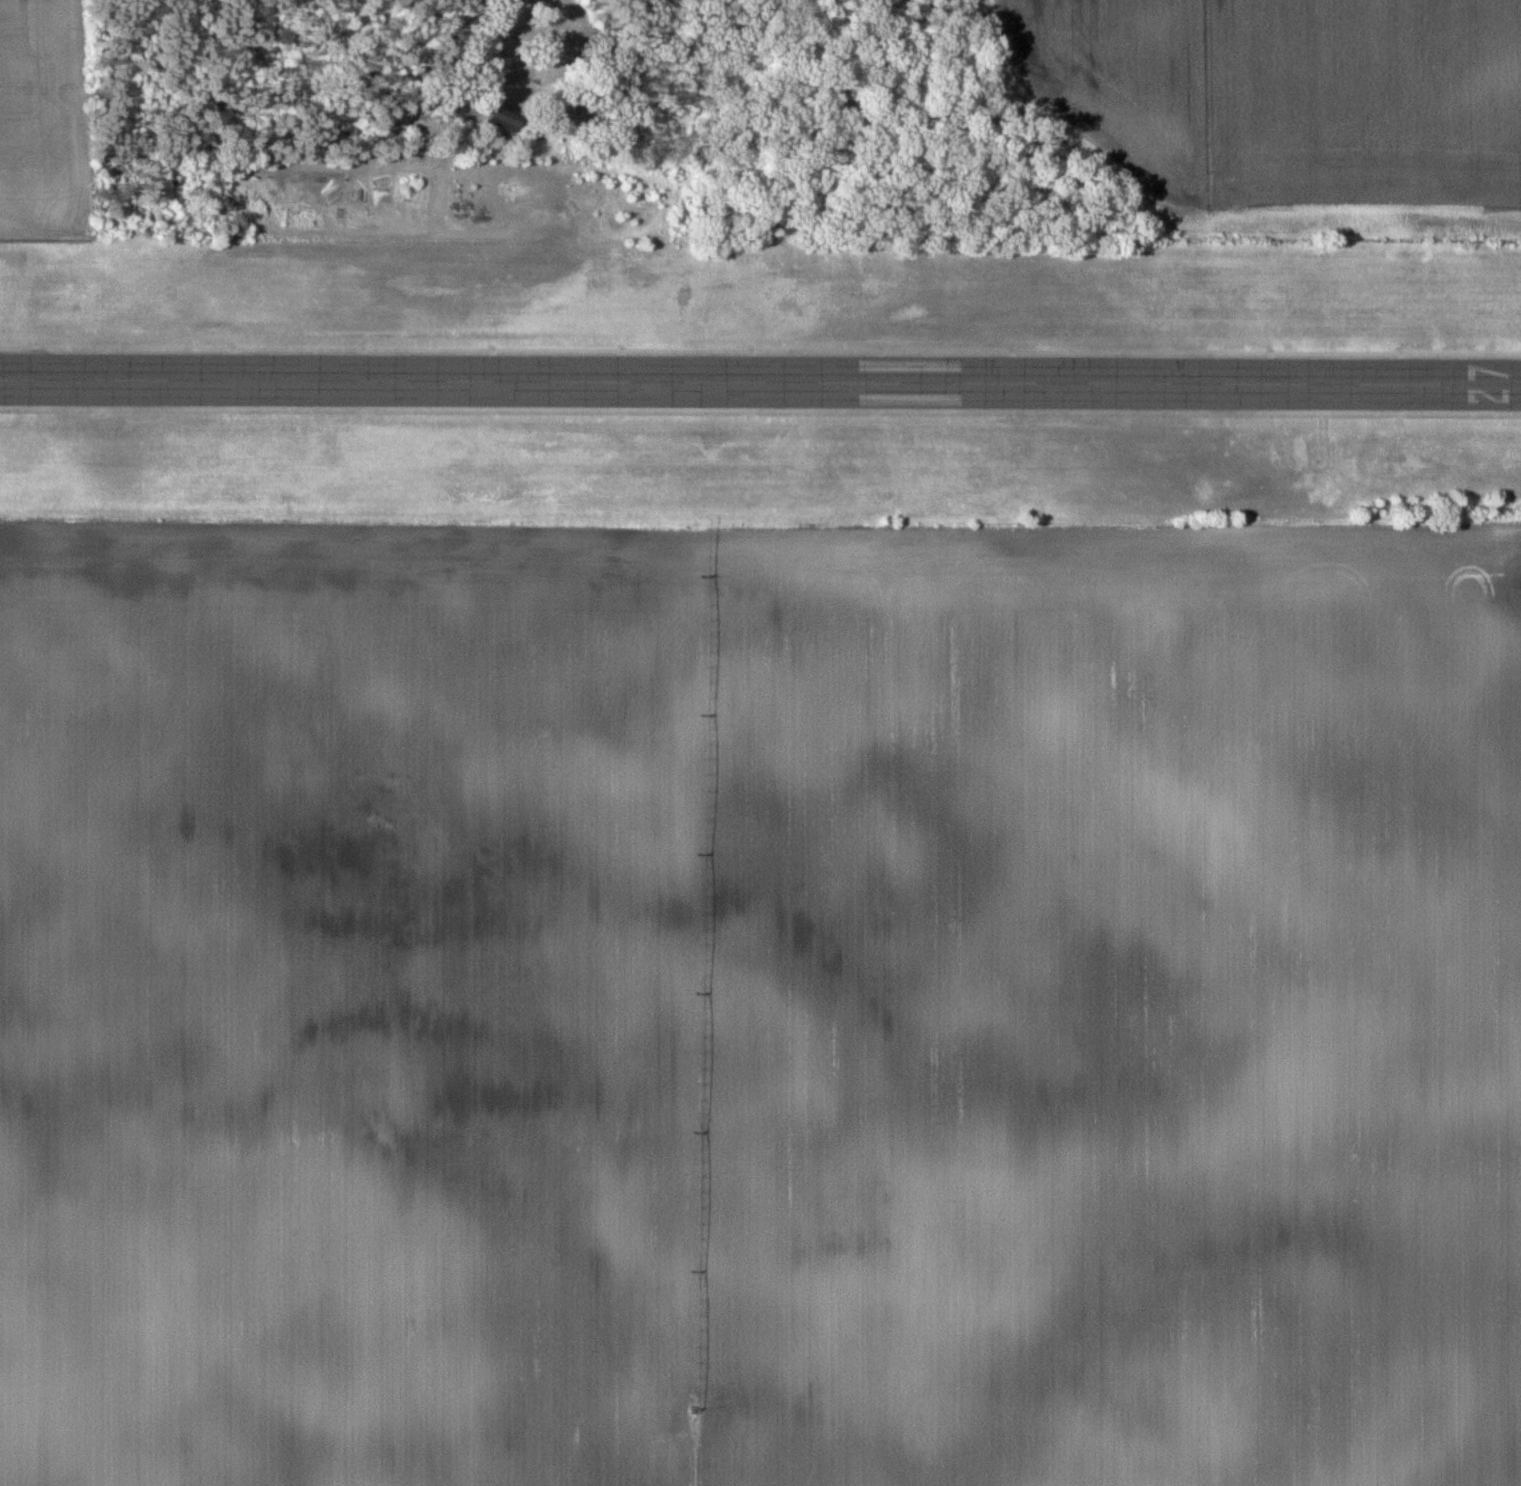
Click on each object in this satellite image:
building: (499, 117)
airport runway: (760, 380)

